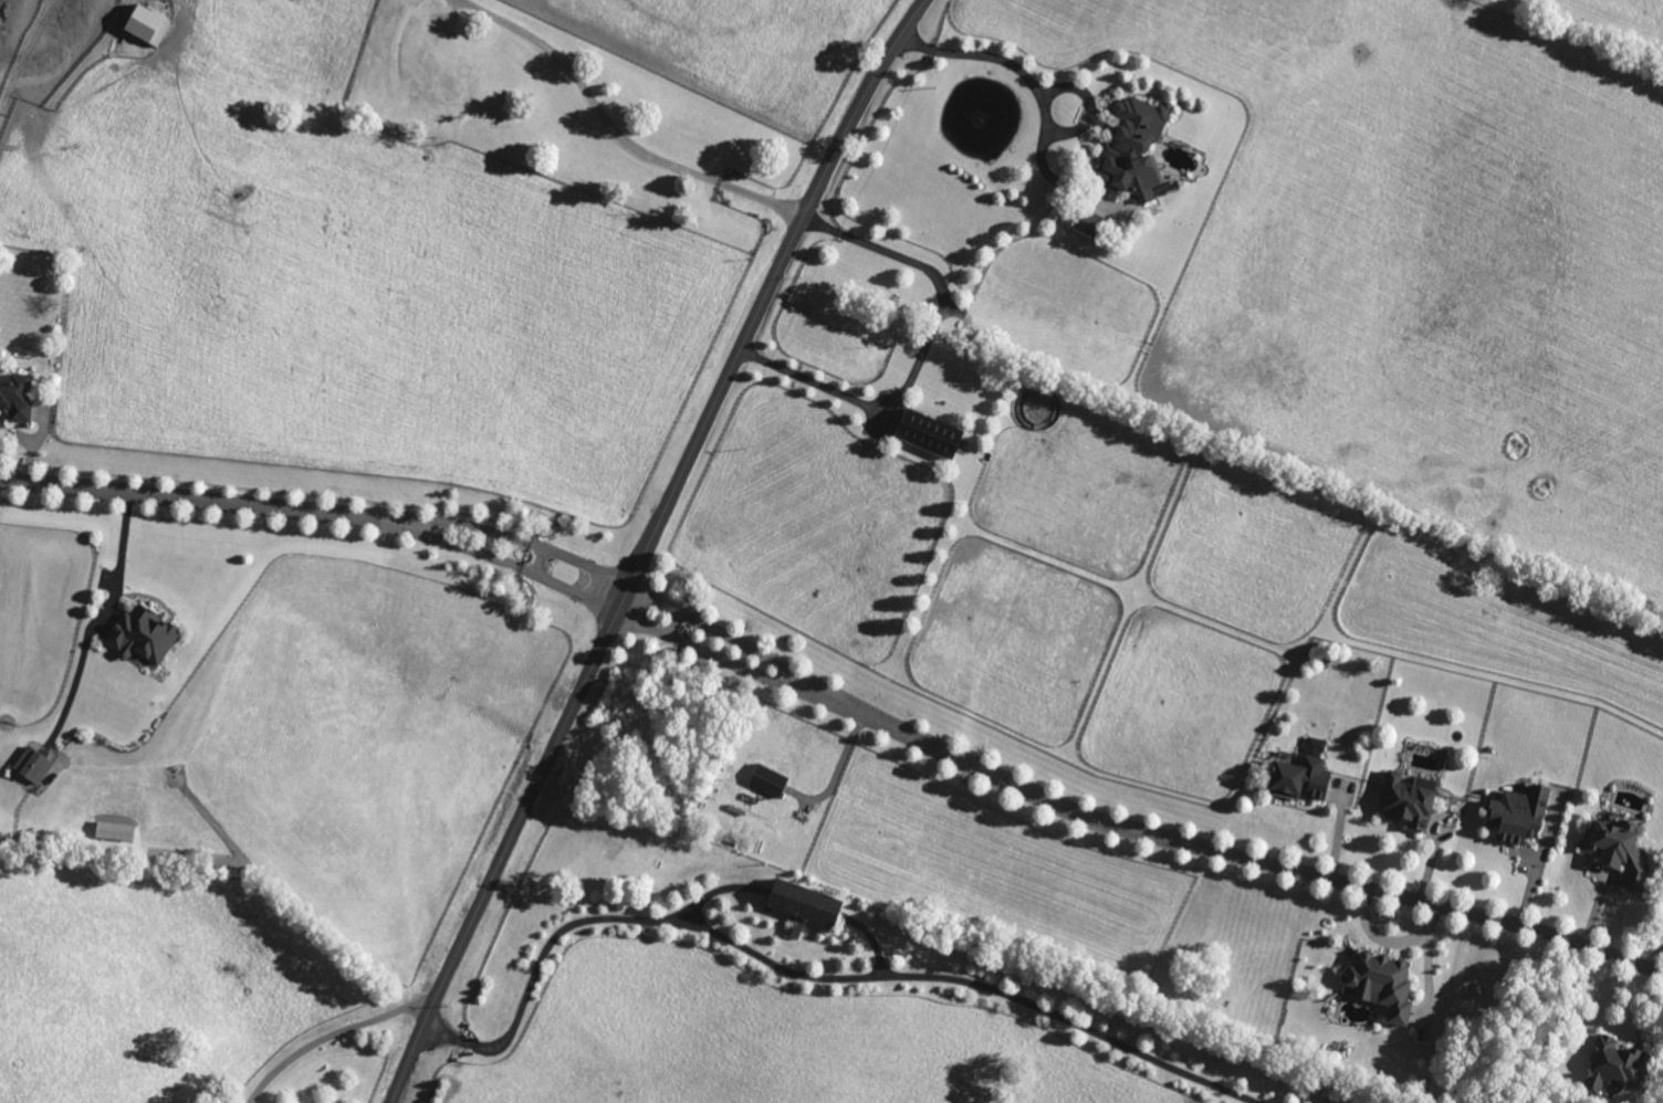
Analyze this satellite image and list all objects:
building: (151, 28)
road: (1008, 63)
road: (626, 130)
building: (1138, 150)
building: (1094, 223)
road: (922, 351)
building: (19, 397)
building: (935, 433)
road: (189, 500)
road: (509, 535)
road: (648, 545)
road: (122, 548)
road: (500, 559)
road: (538, 559)
road: (674, 622)
building: (146, 635)
road: (749, 647)
road: (740, 666)
building: (36, 766)
building: (1308, 776)
building: (773, 781)
building: (1413, 801)
building: (1524, 816)
road: (1341, 824)
building: (117, 832)
building: (1623, 850)
road: (1258, 860)
building: (809, 907)
road: (824, 967)
building: (1388, 986)
road: (333, 1036)
building: (1624, 1064)

